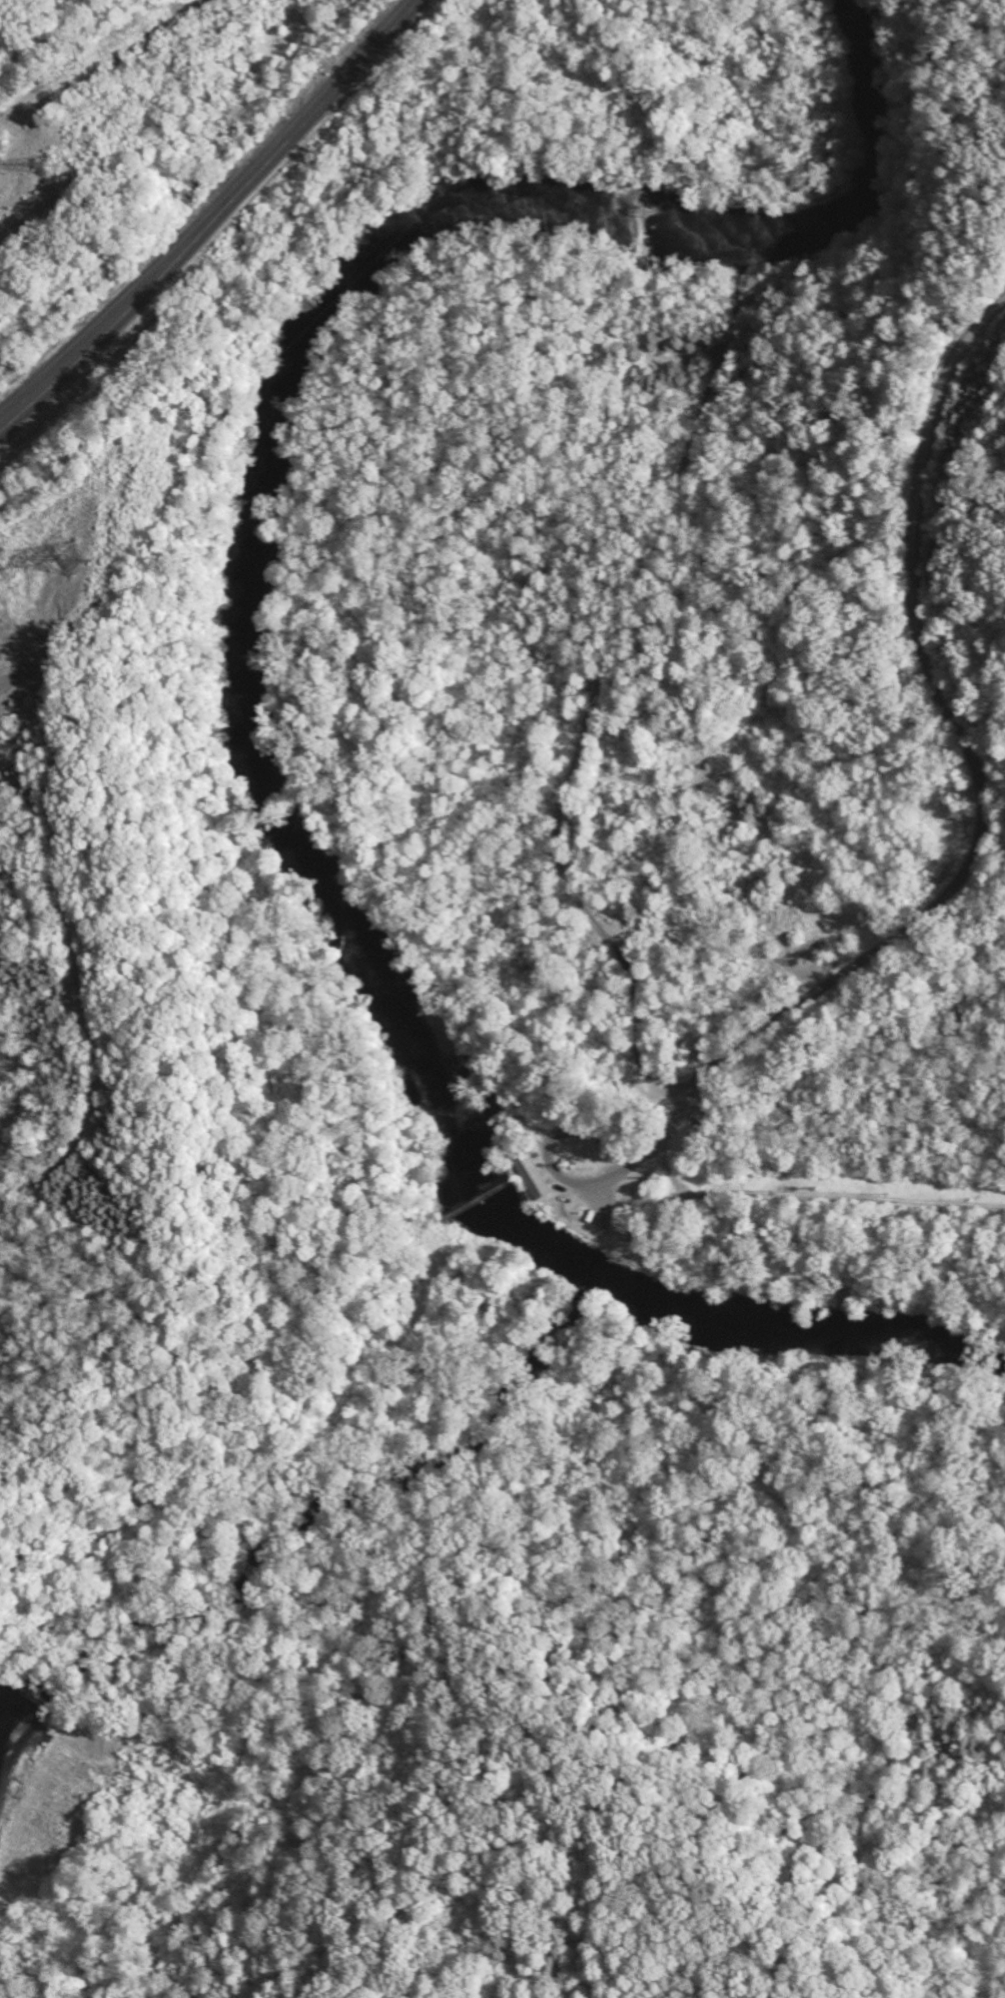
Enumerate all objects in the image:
power tower: (50, 161)
road: (253, 181)
road: (40, 392)
power tower: (78, 560)
river: (248, 659)
road: (980, 788)
road: (579, 901)
road: (546, 1153)
building: (533, 1176)
road: (883, 1615)

